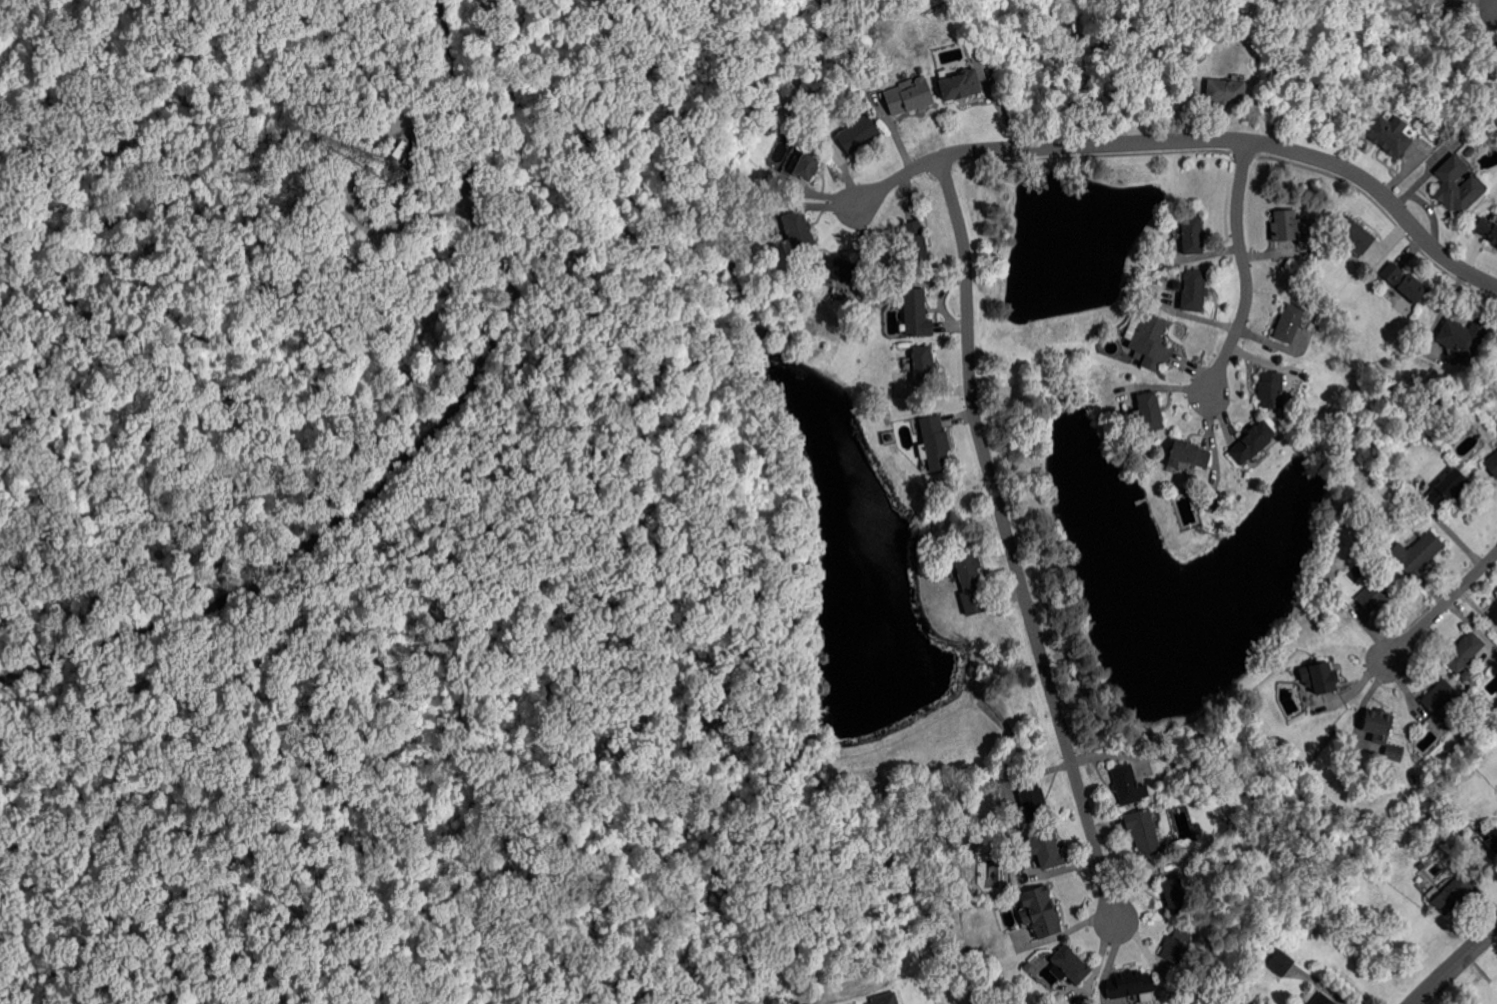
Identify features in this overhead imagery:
building: (873, 17)
building: (961, 84)
building: (1225, 92)
building: (910, 97)
building: (775, 111)
building: (860, 134)
building: (1390, 135)
road: (245, 139)
road: (1193, 140)
building: (399, 148)
building: (1470, 152)
building: (808, 165)
building: (1456, 186)
road: (349, 214)
building: (1287, 226)
building: (1487, 230)
building: (797, 232)
building: (1194, 235)
building: (1356, 235)
building: (917, 241)
road: (568, 249)
building: (835, 267)
road: (1247, 271)
road: (445, 282)
building: (1405, 282)
building: (1196, 290)
building: (877, 295)
building: (918, 313)
building: (1290, 323)
building: (1462, 338)
building: (1152, 341)
building: (924, 365)
building: (1272, 390)
building: (1151, 411)
building: (1253, 441)
building: (935, 443)
road: (423, 447)
building: (1190, 454)
building: (1492, 463)
park: (335, 484)
building: (1447, 488)
building: (1213, 501)
road: (1011, 542)
building: (1421, 555)
building: (1385, 564)
building: (969, 575)
building: (1376, 590)
road: (1443, 607)
building: (1494, 613)
building: (1464, 654)
building: (1323, 678)
building: (1442, 697)
road: (151, 703)
building: (1378, 722)
building: (1395, 753)
building: (1175, 763)
building: (1295, 768)
building: (1127, 785)
building: (1034, 801)
building: (1145, 832)
building: (1492, 839)
building: (1046, 848)
road: (255, 860)
building: (1453, 892)
building: (1176, 895)
building: (1040, 912)
building: (1176, 945)
road: (1108, 963)
building: (1280, 963)
road: (1455, 964)
building: (1071, 965)
road: (386, 980)
building: (1133, 986)
building: (886, 999)
building: (1323, 999)

